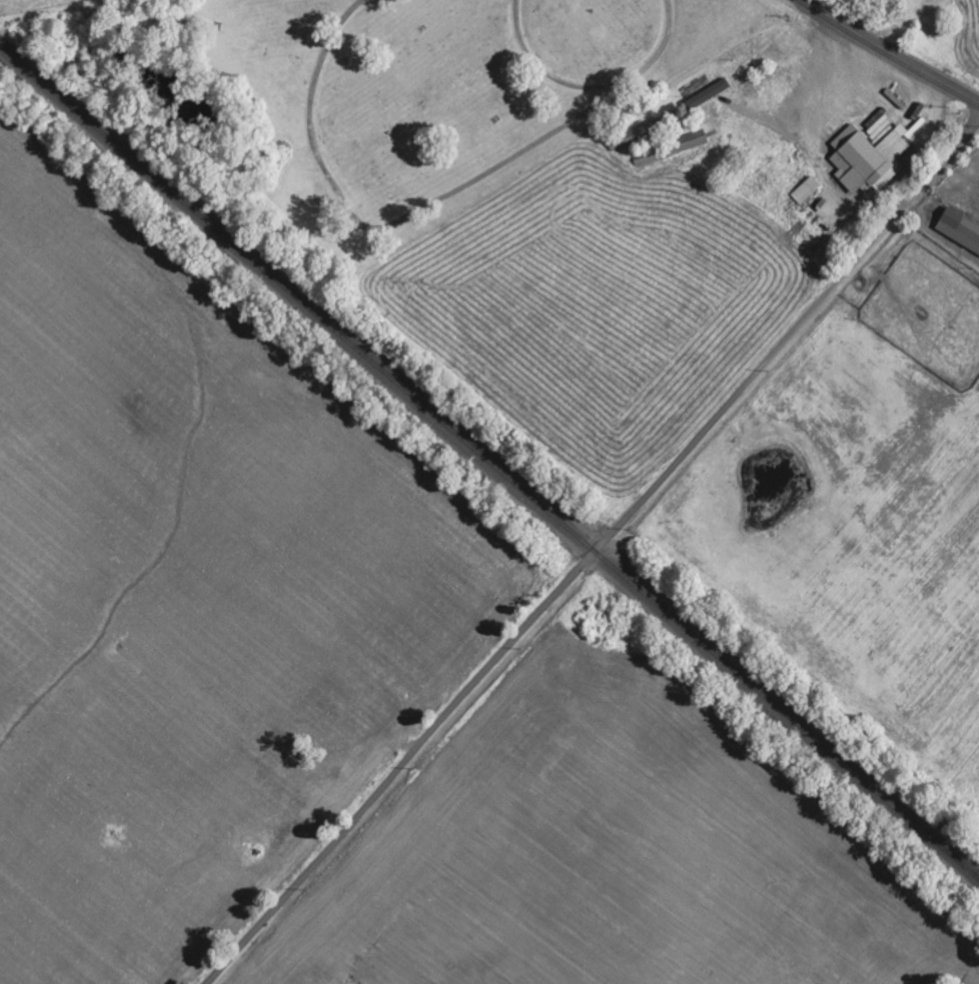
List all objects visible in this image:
road: (890, 52)
building: (708, 94)
building: (869, 158)
building: (807, 190)
building: (960, 229)
railway: (489, 460)
road: (593, 550)
railway: (953, 851)

